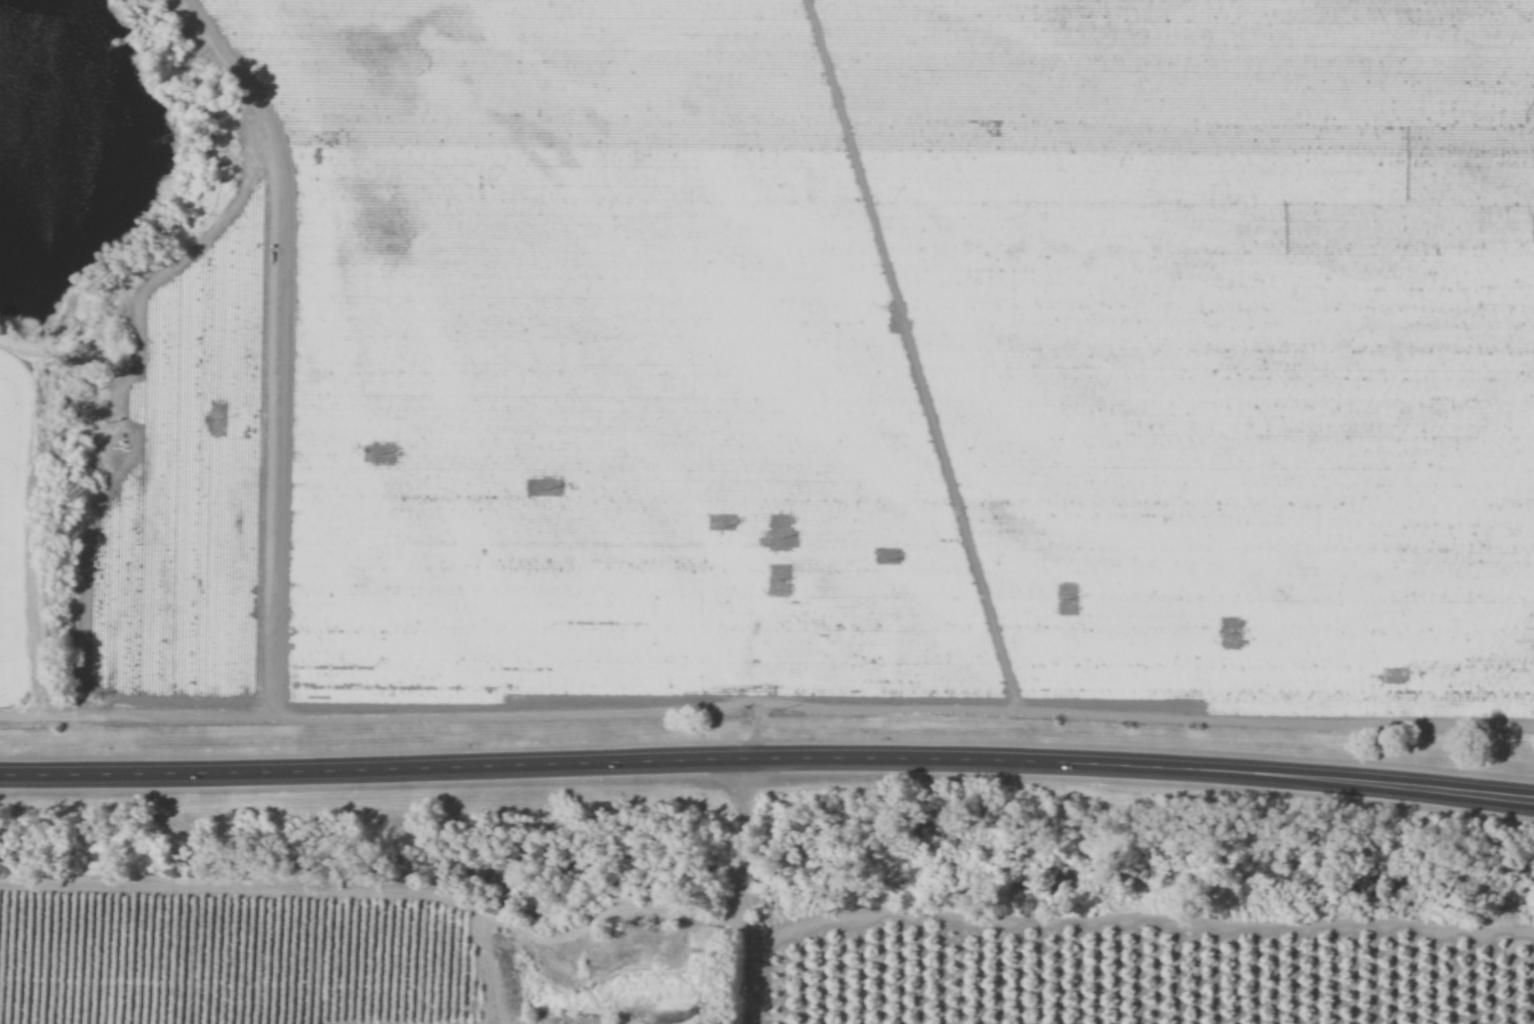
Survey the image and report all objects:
road: (767, 757)
railway: (767, 849)
road: (739, 890)
road: (1109, 918)

